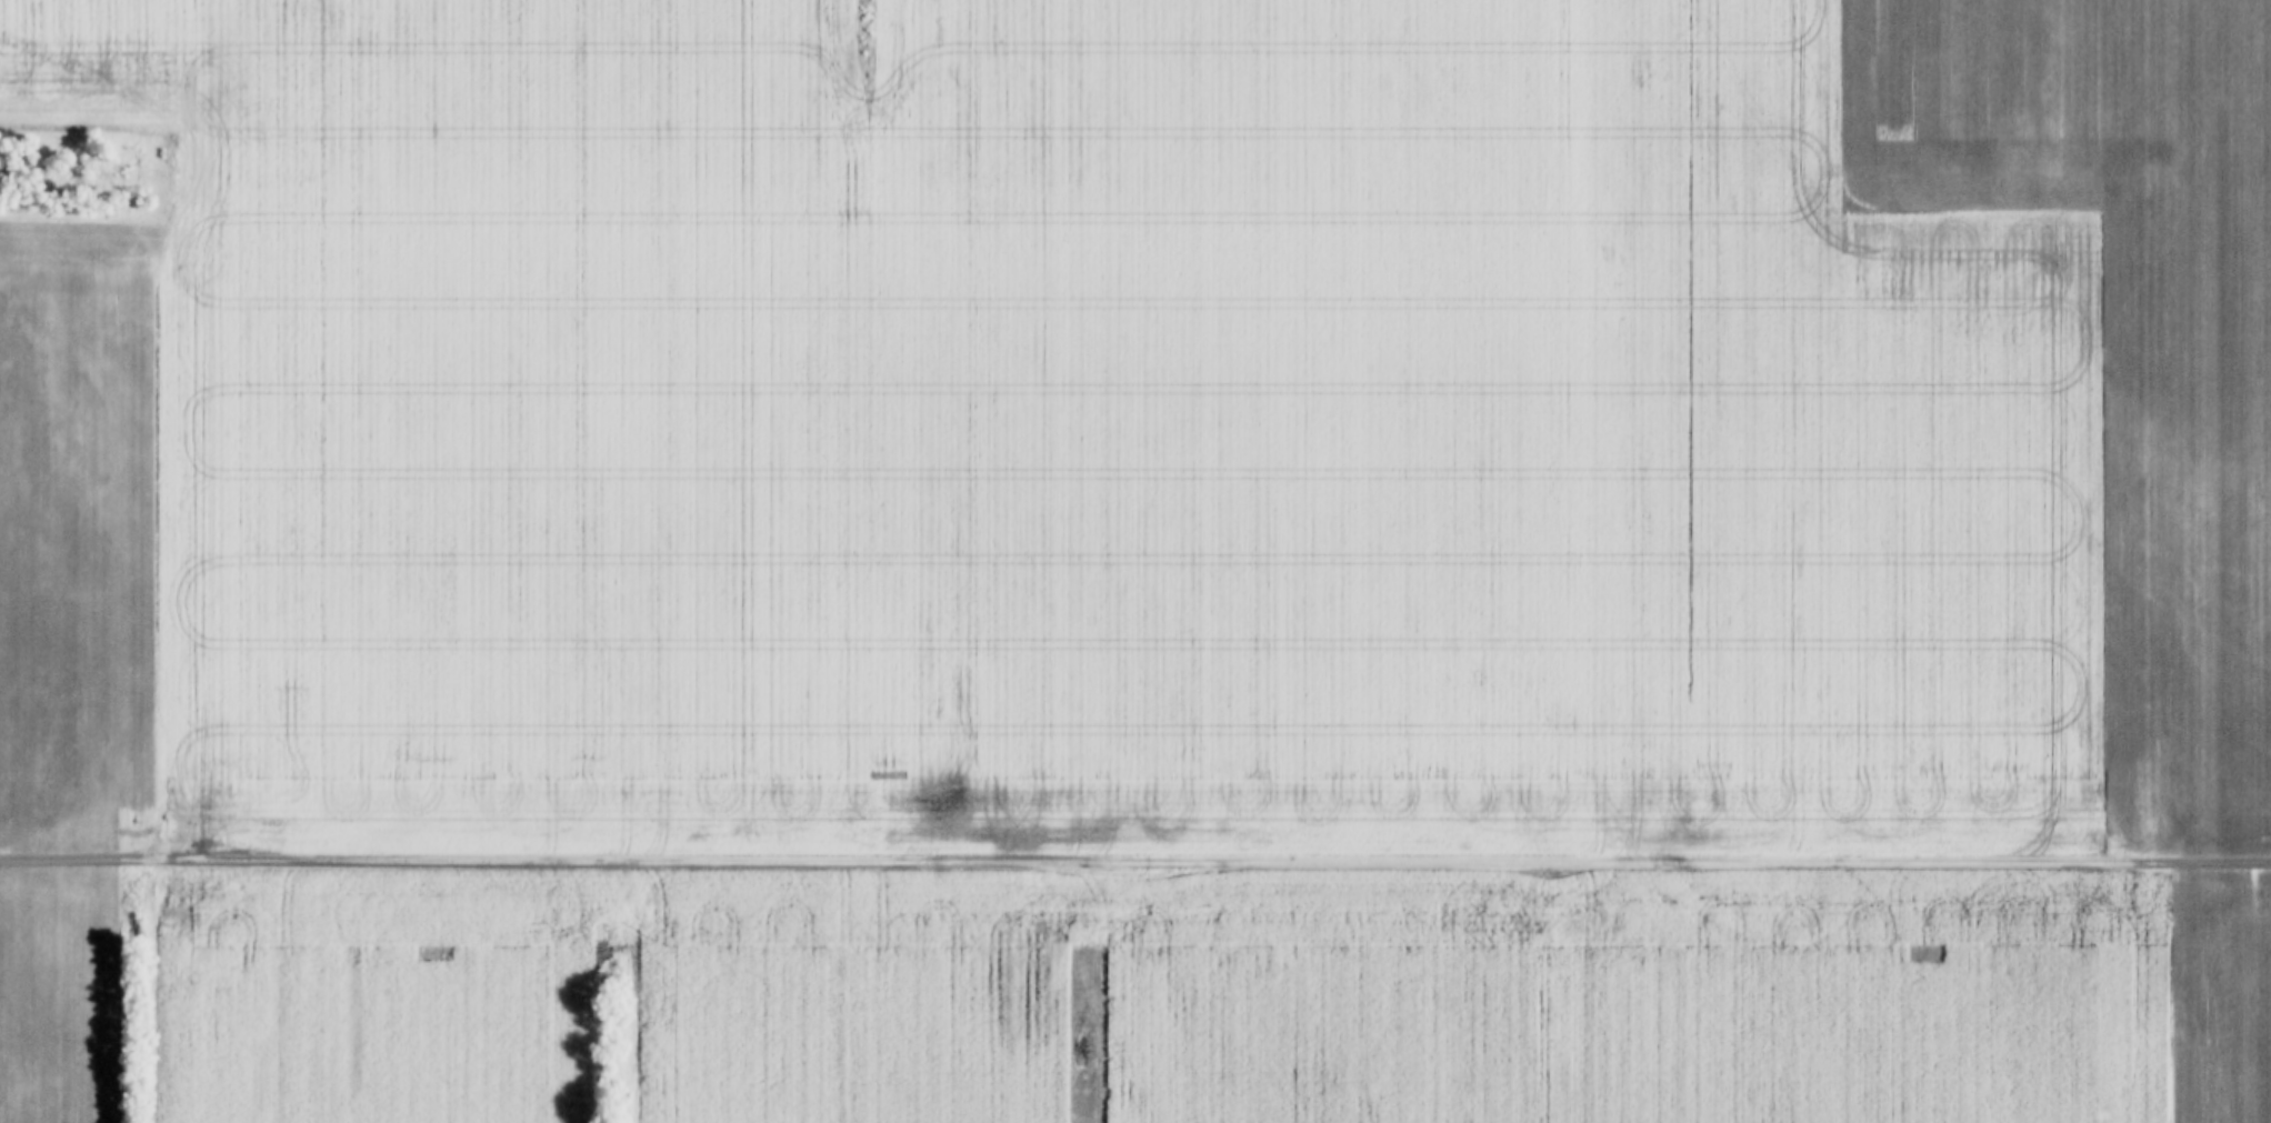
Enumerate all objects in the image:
road: (1135, 862)

